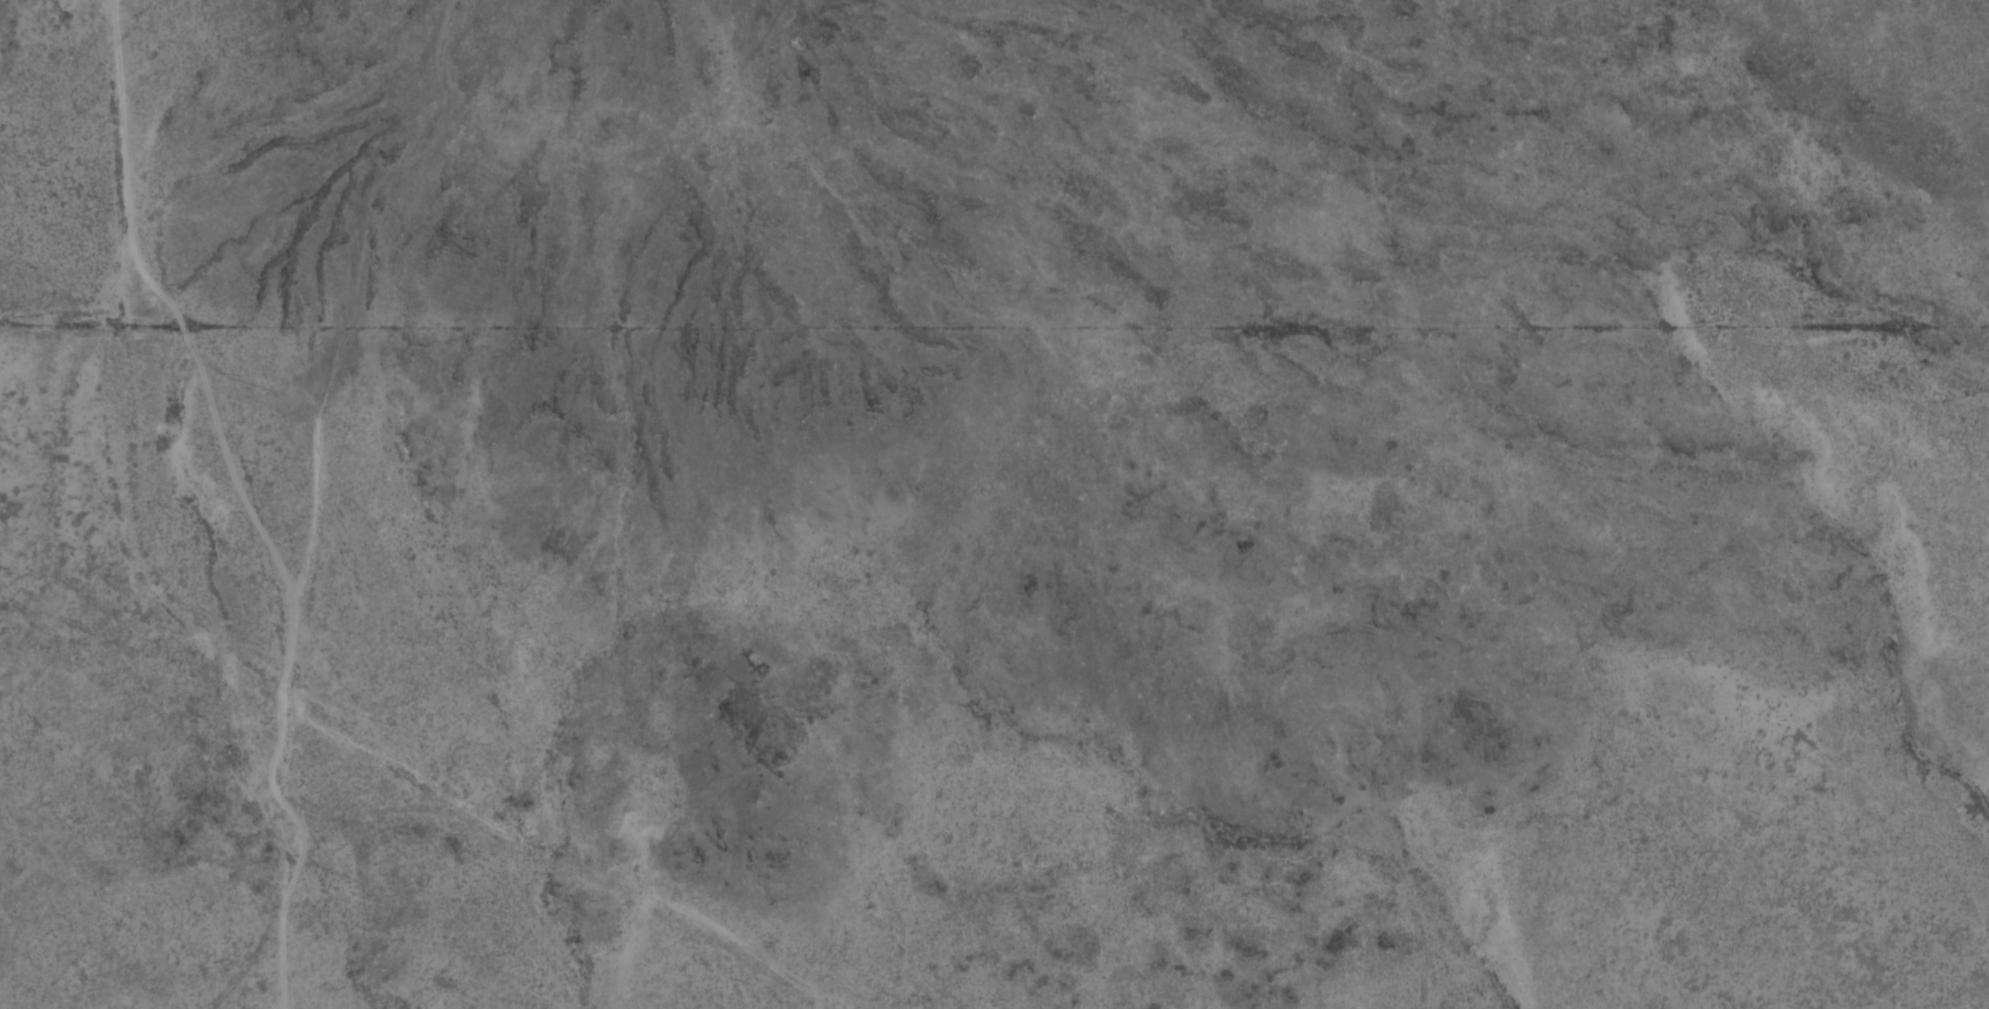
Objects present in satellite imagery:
road: (652, 154)
road: (319, 462)

